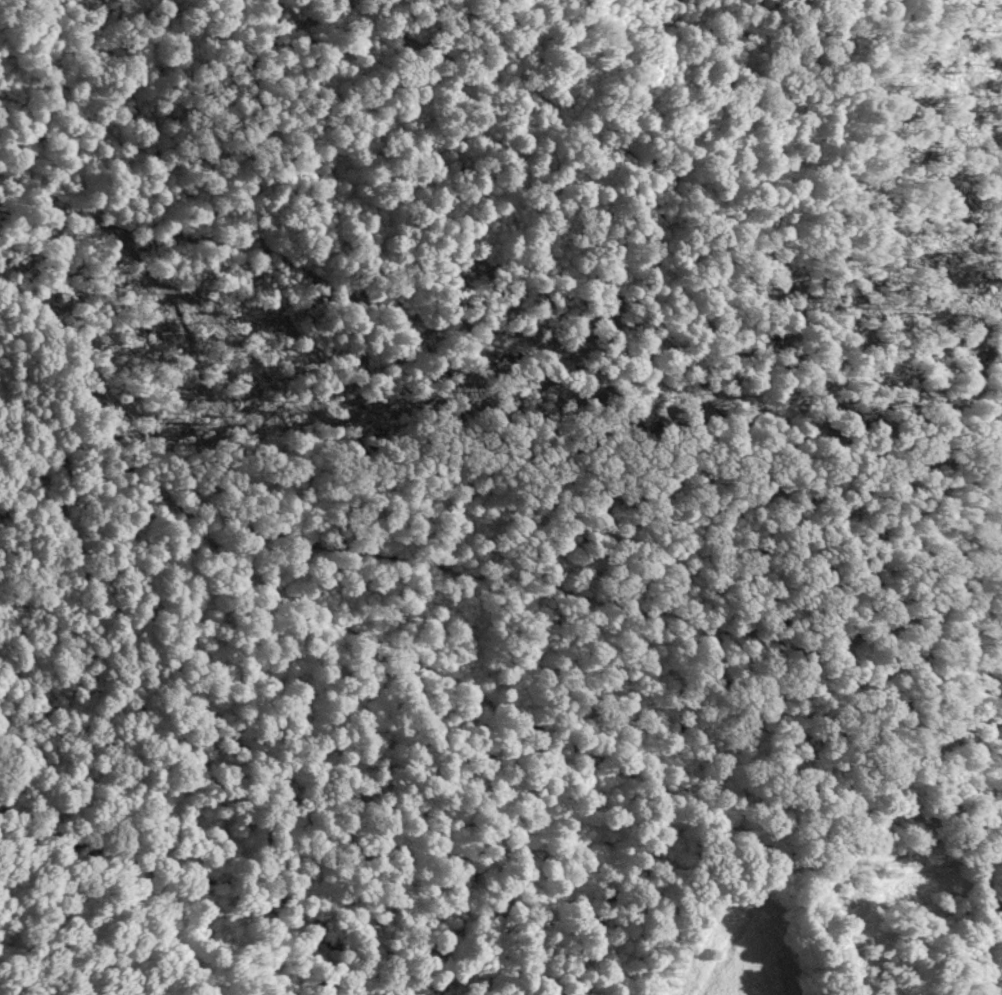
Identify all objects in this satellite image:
railway: (401, 653)

